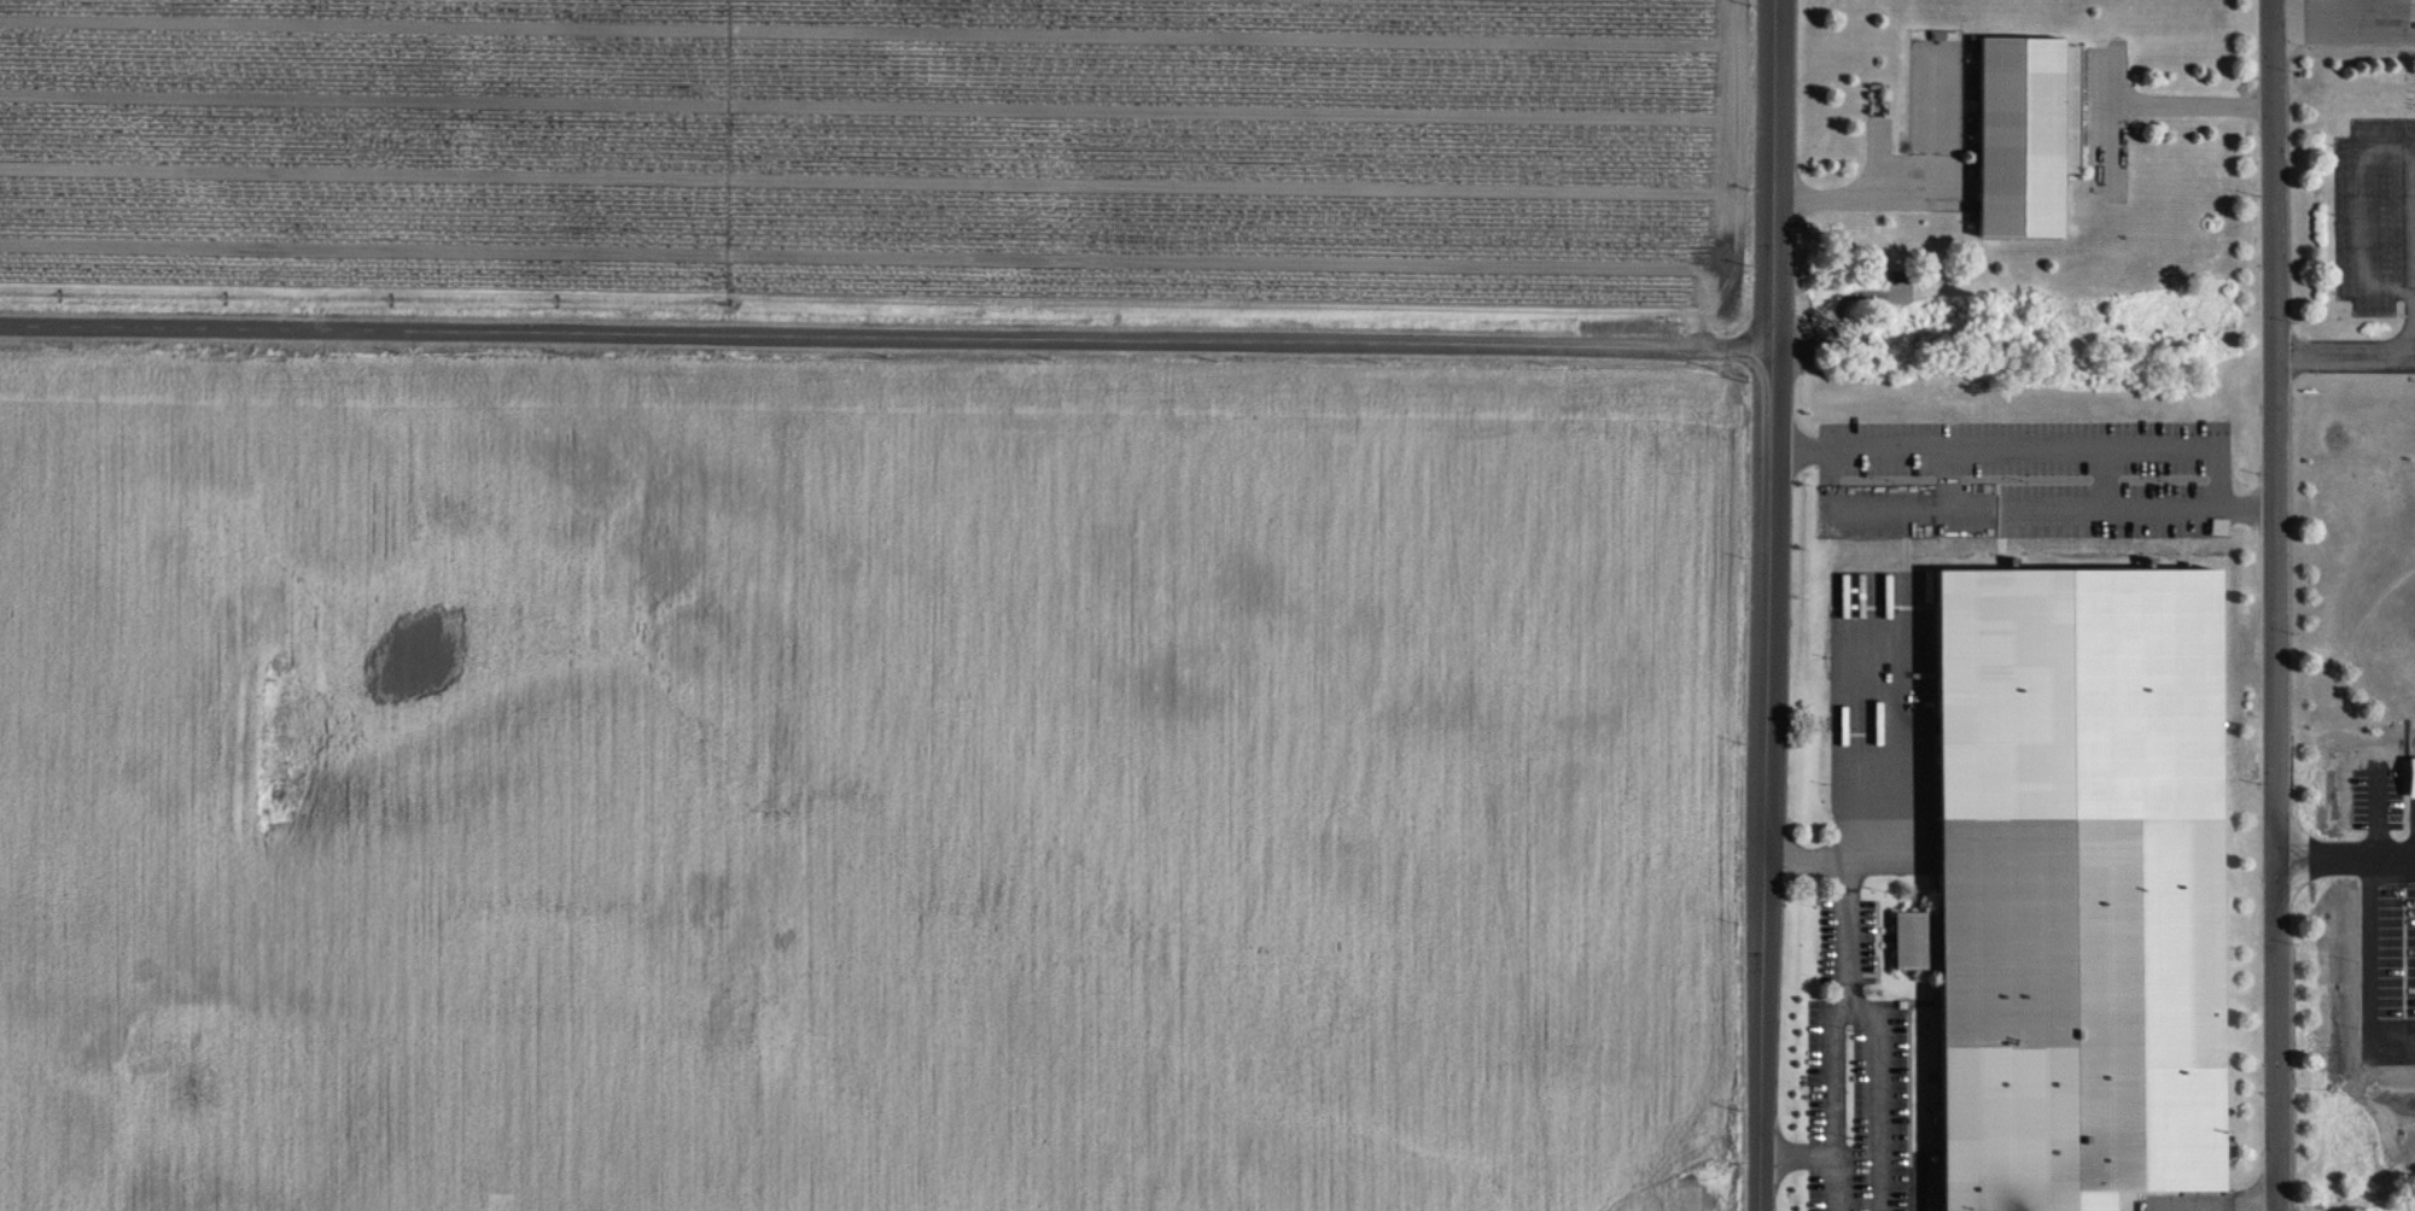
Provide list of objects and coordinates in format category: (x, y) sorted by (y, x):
road: (2331, 21)
road: (2390, 25)
road: (2159, 104)
building: (2029, 135)
road: (1839, 198)
road: (2356, 211)
road: (2411, 246)
road: (885, 332)
road: (2344, 353)
road: (2180, 451)
road: (2247, 504)
road: (1767, 604)
road: (2275, 604)
road: (2402, 715)
road: (1879, 753)
road: (2408, 759)
building: (2079, 884)
road: (2402, 907)
road: (1855, 970)
road: (1879, 1100)
road: (1826, 1158)
road: (1920, 1187)
road: (2246, 1203)

